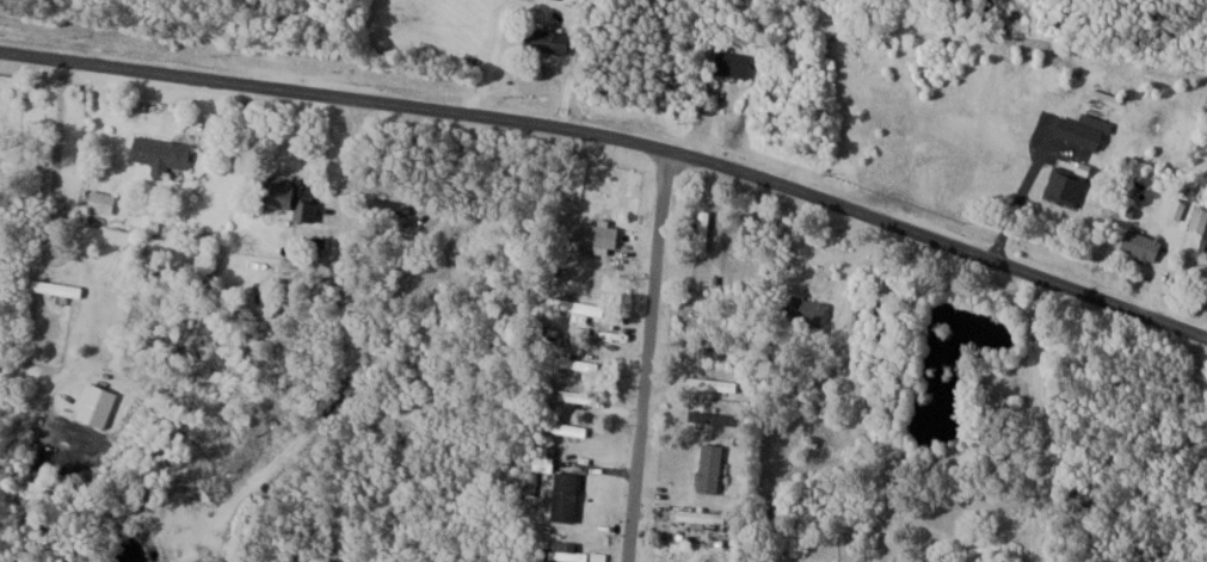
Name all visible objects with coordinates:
building: (546, 39)
building: (732, 63)
road: (56, 136)
road: (617, 138)
building: (161, 153)
building: (937, 161)
building: (992, 187)
building: (290, 198)
building: (100, 200)
building: (1201, 224)
building: (746, 227)
building: (702, 230)
building: (449, 234)
building: (595, 234)
building: (1141, 245)
building: (580, 307)
building: (802, 308)
building: (712, 350)
road: (648, 357)
building: (574, 362)
building: (712, 382)
building: (575, 395)
building: (718, 418)
building: (568, 428)
building: (709, 467)
building: (565, 496)
building: (700, 515)
building: (565, 550)

